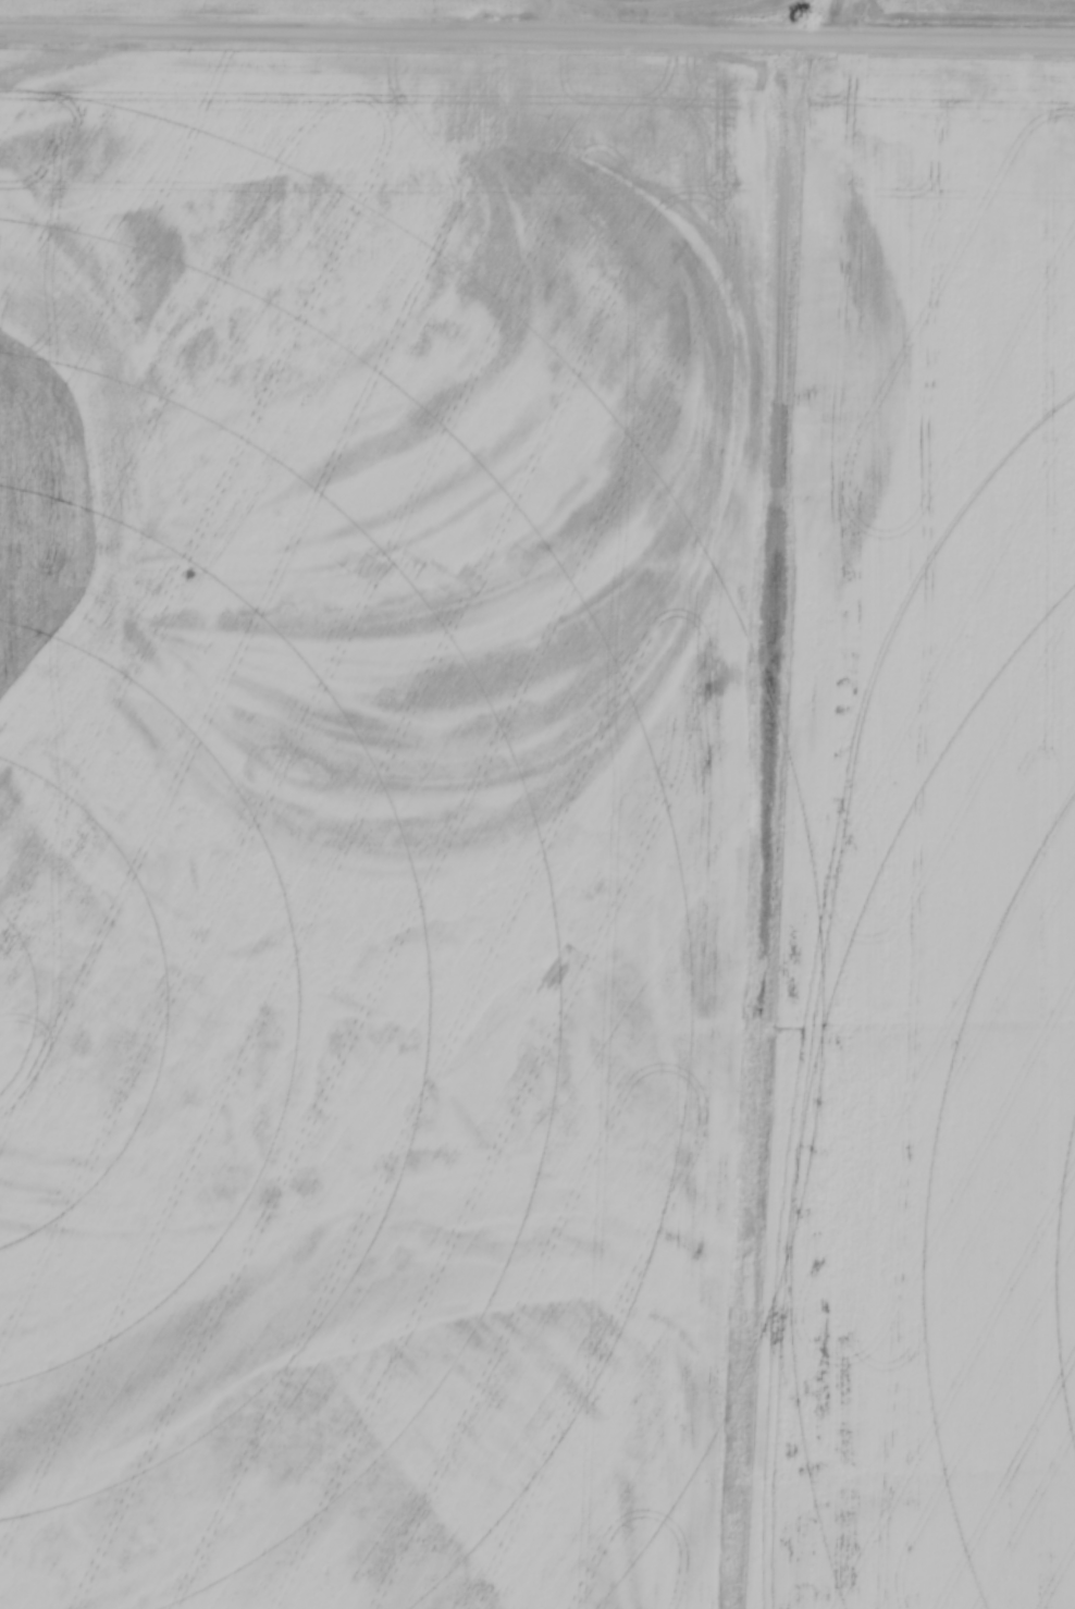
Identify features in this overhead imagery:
road: (537, 41)

